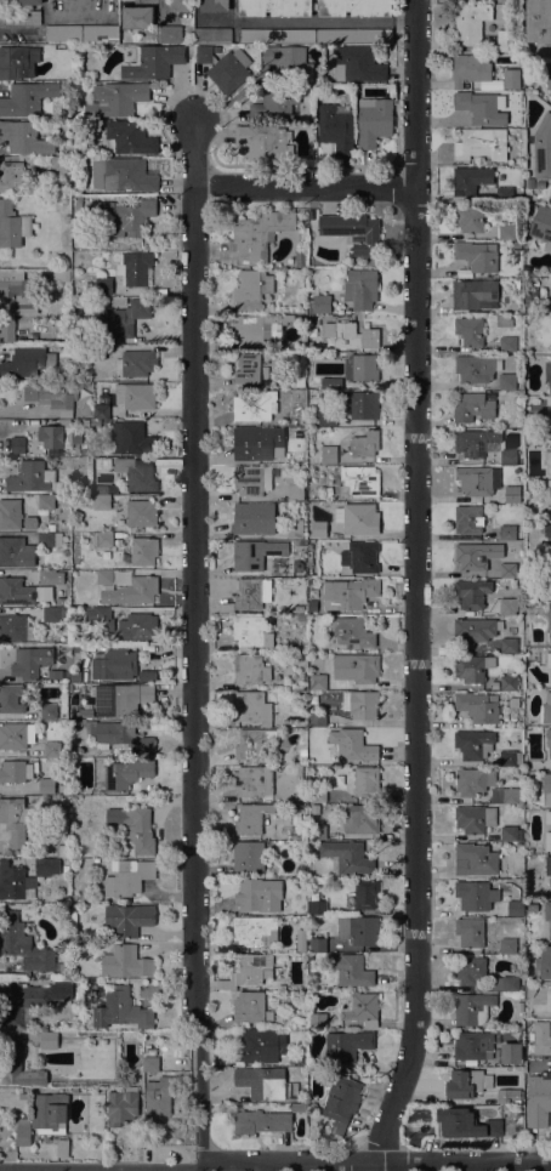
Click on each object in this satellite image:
building: (1, 1)
building: (30, 2)
road: (83, 2)
building: (180, 5)
building: (215, 6)
building: (275, 7)
building: (354, 7)
building: (137, 17)
building: (19, 18)
building: (539, 21)
road: (316, 23)
building: (470, 24)
building: (63, 33)
building: (101, 33)
building: (170, 34)
building: (212, 34)
building: (314, 35)
building: (506, 41)
building: (217, 50)
building: (13, 61)
building: (153, 62)
building: (289, 62)
building: (358, 64)
building: (225, 67)
building: (471, 69)
building: (511, 79)
building: (547, 79)
building: (27, 98)
building: (117, 98)
building: (277, 103)
building: (482, 107)
building: (374, 121)
building: (336, 127)
building: (24, 137)
building: (129, 137)
building: (263, 142)
building: (481, 143)
building: (543, 147)
building: (58, 163)
building: (123, 175)
building: (17, 178)
building: (470, 180)
building: (530, 183)
road: (305, 187)
building: (505, 194)
building: (78, 206)
building: (311, 215)
building: (125, 217)
building: (468, 217)
building: (67, 218)
building: (541, 223)
building: (12, 224)
building: (506, 231)
building: (353, 232)
building: (260, 233)
building: (477, 255)
building: (300, 257)
building: (135, 268)
building: (66, 274)
building: (103, 283)
building: (516, 283)
building: (362, 288)
building: (251, 290)
building: (530, 294)
building: (475, 295)
building: (15, 300)
building: (319, 303)
building: (121, 318)
building: (284, 319)
building: (504, 322)
building: (252, 329)
building: (468, 331)
building: (351, 335)
building: (509, 343)
building: (535, 348)
building: (97, 352)
building: (27, 362)
building: (136, 363)
building: (360, 366)
building: (476, 368)
building: (550, 368)
building: (249, 369)
building: (300, 381)
building: (507, 381)
building: (331, 382)
building: (136, 396)
building: (318, 396)
building: (52, 397)
building: (254, 404)
building: (360, 404)
building: (472, 407)
building: (550, 407)
building: (101, 411)
building: (328, 417)
building: (96, 424)
building: (549, 427)
building: (57, 434)
building: (132, 438)
building: (257, 442)
building: (475, 442)
building: (17, 444)
building: (365, 444)
building: (329, 454)
building: (509, 457)
building: (295, 459)
building: (547, 460)
building: (137, 473)
building: (32, 477)
building: (251, 479)
building: (360, 481)
building: (478, 481)
building: (295, 485)
building: (101, 489)
building: (550, 491)
building: (512, 494)
building: (46, 501)
building: (102, 502)
building: (10, 513)
building: (137, 515)
building: (254, 518)
building: (358, 518)
building: (468, 519)
building: (51, 528)
building: (296, 529)
building: (319, 529)
building: (547, 530)
building: (509, 533)
building: (102, 539)
building: (46, 540)
building: (302, 544)
building: (309, 546)
building: (343, 546)
building: (16, 552)
building: (144, 552)
building: (256, 553)
building: (309, 555)
building: (475, 556)
building: (360, 557)
building: (309, 561)
building: (509, 570)
building: (50, 578)
building: (104, 578)
road: (419, 590)
building: (16, 591)
building: (132, 591)
building: (472, 592)
building: (507, 592)
building: (351, 593)
building: (249, 595)
building: (312, 607)
building: (509, 607)
building: (302, 609)
building: (55, 614)
building: (98, 618)
building: (550, 625)
building: (138, 626)
building: (16, 627)
building: (476, 630)
building: (249, 631)
building: (351, 632)
road: (195, 643)
building: (509, 644)
building: (300, 646)
building: (76, 649)
building: (547, 659)
building: (30, 661)
building: (115, 664)
building: (357, 667)
building: (472, 667)
building: (250, 669)
building: (56, 673)
building: (76, 676)
building: (147, 676)
building: (550, 676)
building: (318, 682)
building: (303, 683)
building: (507, 683)
building: (11, 698)
building: (121, 698)
building: (360, 704)
building: (478, 706)
building: (251, 707)
building: (49, 710)
building: (546, 710)
building: (86, 715)
building: (318, 720)
building: (16, 735)
building: (120, 737)
building: (549, 739)
building: (252, 743)
building: (475, 744)
building: (353, 746)
building: (52, 749)
building: (66, 751)
building: (510, 757)
building: (294, 760)
building: (15, 771)
building: (124, 774)
building: (252, 780)
building: (475, 780)
building: (368, 781)
building: (46, 785)
building: (546, 786)
building: (67, 790)
building: (318, 794)
building: (495, 795)
building: (510, 795)
building: (64, 801)
building: (252, 817)
building: (475, 818)
building: (362, 819)
building: (15, 823)
building: (134, 826)
building: (547, 831)
building: (318, 832)
building: (510, 834)
building: (299, 836)
building: (63, 851)
building: (249, 855)
building: (346, 855)
building: (477, 858)
building: (46, 866)
building: (549, 866)
building: (528, 868)
building: (66, 869)
building: (299, 871)
building: (127, 877)
building: (13, 881)
building: (367, 893)
building: (249, 894)
building: (475, 896)
building: (513, 906)
building: (317, 908)
building: (267, 913)
building: (547, 915)
building: (129, 919)
building: (358, 930)
building: (254, 931)
building: (470, 932)
building: (301, 939)
building: (23, 943)
building: (318, 945)
building: (507, 945)
building: (126, 962)
building: (544, 963)
building: (64, 970)
building: (351, 970)
building: (470, 970)
building: (249, 971)
building: (504, 983)
building: (282, 987)
building: (528, 994)
building: (32, 1000)
building: (359, 1006)
building: (251, 1007)
building: (472, 1008)
building: (121, 1010)
building: (318, 1019)
building: (541, 1038)
building: (49, 1040)
building: (257, 1045)
building: (473, 1045)
building: (345, 1046)
building: (152, 1052)
building: (511, 1053)
building: (302, 1059)
building: (17, 1064)
building: (150, 1064)
building: (266, 1082)
building: (466, 1084)
building: (506, 1096)
building: (159, 1098)
building: (539, 1099)
building: (316, 1102)
building: (341, 1102)
building: (123, 1105)
building: (299, 1108)
building: (49, 1113)
building: (262, 1121)
building: (465, 1124)
building: (23, 1131)
building: (62, 1148)
road: (274, 1164)
road: (159, 1170)

